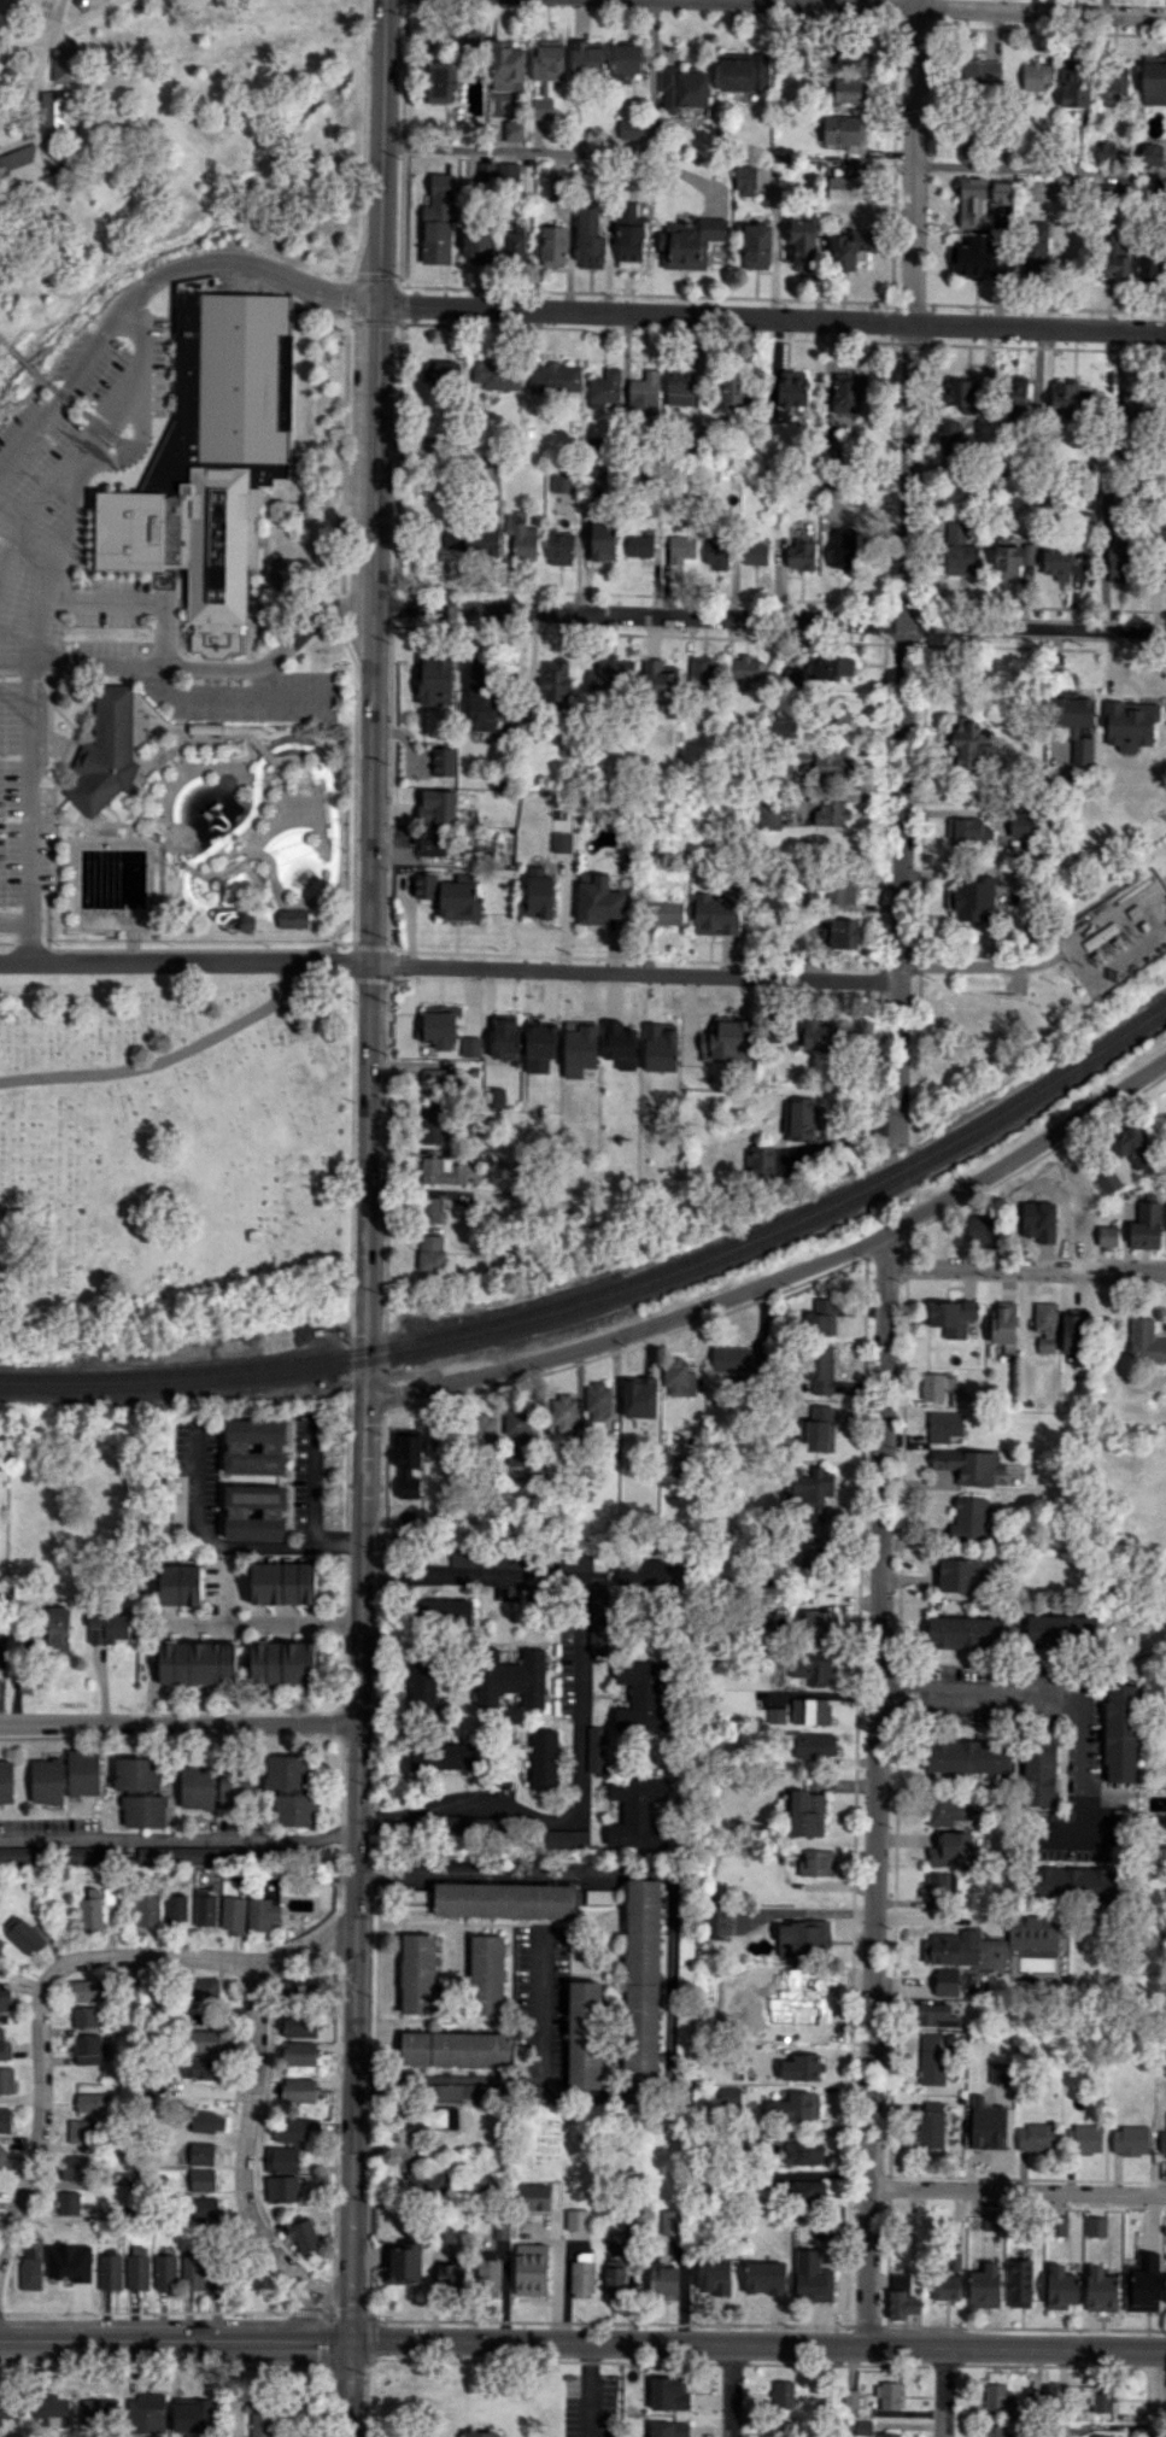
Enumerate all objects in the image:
road: (937, 6)
road: (61, 29)
building: (587, 55)
building: (851, 57)
building: (626, 61)
building: (65, 64)
building: (506, 65)
building: (978, 71)
building: (744, 72)
building: (1036, 75)
building: (1154, 75)
building: (546, 76)
building: (440, 81)
road: (35, 82)
building: (1073, 83)
building: (1112, 84)
building: (682, 89)
building: (848, 90)
building: (54, 112)
building: (631, 128)
building: (514, 130)
building: (842, 130)
building: (967, 141)
road: (379, 151)
road: (509, 151)
building: (1105, 151)
building: (1150, 152)
road: (913, 160)
building: (22, 164)
road: (1039, 169)
building: (509, 172)
building: (745, 181)
building: (844, 188)
building: (1047, 191)
building: (1002, 192)
building: (973, 204)
building: (629, 238)
building: (590, 239)
building: (436, 240)
building: (691, 244)
building: (756, 245)
building: (803, 245)
building: (477, 246)
building: (515, 246)
building: (553, 247)
building: (973, 257)
building: (1114, 258)
building: (1030, 260)
building: (1150, 265)
road: (151, 282)
traffic signals: (375, 304)
road: (769, 317)
road: (5, 350)
road: (22, 358)
building: (441, 374)
building: (497, 375)
building: (555, 377)
building: (605, 386)
building: (229, 387)
building: (680, 388)
building: (791, 389)
building: (961, 391)
building: (644, 392)
building: (733, 392)
road: (30, 394)
building: (848, 396)
building: (1016, 397)
building: (1070, 398)
road: (94, 420)
road: (86, 437)
road: (139, 440)
park: (182, 473)
building: (597, 476)
building: (561, 482)
building: (1083, 529)
building: (521, 535)
building: (471, 539)
building: (603, 541)
building: (189, 545)
building: (639, 546)
building: (559, 547)
building: (843, 547)
building: (681, 549)
building: (960, 551)
building: (716, 552)
road: (57, 553)
building: (755, 553)
building: (801, 553)
building: (1012, 560)
building: (1119, 560)
parking lot: (63, 561)
building: (1057, 562)
road: (133, 601)
road: (768, 621)
road: (197, 667)
building: (748, 668)
building: (831, 668)
building: (701, 669)
building: (609, 673)
building: (791, 676)
road: (266, 680)
building: (435, 680)
building: (555, 680)
building: (661, 681)
road: (230, 695)
building: (481, 696)
parking lot: (259, 698)
road: (49, 710)
building: (1076, 725)
building: (1129, 725)
building: (204, 727)
road: (904, 731)
road: (68, 750)
building: (106, 751)
road: (266, 752)
road: (68, 754)
road: (153, 755)
building: (443, 761)
building: (821, 761)
road: (948, 798)
building: (438, 807)
road: (29, 813)
building: (768, 813)
building: (831, 814)
road: (287, 819)
building: (1019, 822)
road: (98, 824)
road: (369, 826)
road: (88, 830)
building: (968, 831)
building: (563, 842)
building: (429, 843)
road: (191, 868)
road: (154, 878)
building: (840, 889)
building: (450, 895)
building: (540, 895)
building: (598, 900)
building: (973, 900)
building: (717, 910)
building: (666, 912)
building: (292, 918)
road: (14, 921)
building: (845, 933)
road: (1042, 959)
road: (449, 965)
building: (439, 1025)
building: (505, 1030)
building: (545, 1030)
building: (813, 1032)
building: (663, 1033)
building: (582, 1035)
building: (773, 1036)
building: (619, 1041)
building: (727, 1041)
building: (471, 1047)
building: (436, 1085)
building: (575, 1085)
building: (496, 1100)
building: (799, 1118)
building: (432, 1130)
park: (166, 1141)
building: (1131, 1146)
building: (758, 1160)
building: (441, 1170)
building: (1107, 1181)
building: (430, 1209)
railway: (784, 1217)
building: (1147, 1226)
building: (980, 1228)
railway: (784, 1230)
building: (1107, 1236)
building: (432, 1252)
road: (1026, 1266)
road: (784, 1273)
building: (821, 1317)
building: (951, 1317)
building: (1004, 1324)
building: (1045, 1326)
building: (1074, 1337)
building: (1146, 1341)
building: (736, 1359)
railway: (182, 1369)
building: (820, 1369)
road: (364, 1377)
building: (678, 1377)
railway: (182, 1382)
building: (932, 1386)
building: (639, 1396)
building: (597, 1400)
building: (566, 1413)
building: (943, 1425)
building: (482, 1429)
building: (444, 1440)
building: (517, 1442)
building: (240, 1447)
building: (680, 1465)
building: (969, 1465)
road: (312, 1481)
building: (811, 1493)
building: (178, 1502)
building: (240, 1512)
building: (969, 1519)
road: (221, 1543)
building: (816, 1551)
building: (491, 1558)
building: (575, 1562)
building: (648, 1571)
building: (957, 1575)
building: (285, 1583)
building: (181, 1584)
road: (359, 1610)
building: (441, 1612)
building: (598, 1619)
road: (262, 1623)
building: (816, 1624)
building: (58, 1628)
building: (107, 1628)
building: (1062, 1628)
building: (972, 1633)
building: (283, 1662)
building: (198, 1663)
building: (811, 1671)
building: (512, 1677)
building: (426, 1685)
road: (1050, 1694)
building: (645, 1697)
road: (581, 1698)
building: (810, 1711)
building: (777, 1715)
road: (178, 1723)
building: (1121, 1733)
building: (814, 1745)
building: (596, 1748)
building: (446, 1756)
building: (969, 1756)
building: (545, 1759)
building: (1039, 1770)
building: (83, 1773)
building: (136, 1773)
building: (6, 1781)
building: (47, 1781)
building: (197, 1787)
building: (234, 1787)
building: (291, 1789)
road: (878, 1791)
building: (947, 1810)
building: (145, 1811)
building: (638, 1812)
building: (807, 1814)
building: (467, 1824)
road: (177, 1838)
building: (566, 1838)
road: (356, 1844)
building: (950, 1850)
building: (23, 1855)
building: (83, 1855)
building: (197, 1855)
building: (818, 1863)
building: (1073, 1882)
building: (941, 1886)
road: (670, 1893)
road: (355, 1897)
building: (503, 1899)
building: (205, 1908)
building: (94, 1909)
building: (147, 1909)
building: (176, 1909)
building: (233, 1914)
building: (262, 1914)
building: (717, 1921)
building: (22, 1934)
building: (802, 1937)
building: (1, 1944)
building: (991, 1945)
building: (685, 1950)
road: (201, 1957)
building: (418, 1973)
building: (488, 1974)
building: (947, 1981)
building: (643, 1982)
building: (205, 1988)
building: (300, 1988)
building: (83, 1990)
building: (5, 1999)
building: (934, 2015)
building: (87, 2016)
building: (809, 2022)
building: (299, 2026)
building: (755, 2029)
building: (585, 2034)
building: (682, 2035)
building: (205, 2040)
building: (4, 2046)
building: (452, 2048)
building: (87, 2049)
building: (300, 2052)
building: (931, 2058)
building: (802, 2067)
building: (1000, 2072)
road: (517, 2078)
building: (6, 2080)
building: (298, 2090)
building: (461, 2091)
building: (92, 2102)
road: (40, 2108)
building: (428, 2117)
building: (5, 2120)
building: (207, 2122)
building: (931, 2123)
building: (988, 2125)
building: (292, 2130)
building: (82, 2131)
building: (1036, 2138)
building: (1083, 2139)
building: (1130, 2140)
building: (1162, 2140)
building: (803, 2152)
building: (204, 2154)
building: (2, 2155)
road: (245, 2156)
building: (282, 2158)
building: (75, 2167)
building: (127, 2179)
building: (203, 2179)
road: (351, 2180)
building: (282, 2189)
building: (804, 2190)
road: (1018, 2190)
building: (534, 2196)
building: (68, 2202)
building: (203, 2208)
building: (576, 2219)
building: (992, 2220)
building: (672, 2222)
building: (1059, 2225)
building: (1096, 2226)
building: (500, 2231)
building: (304, 2236)
building: (955, 2261)
building: (404, 2265)
building: (31, 2266)
building: (137, 2268)
building: (532, 2269)
building: (81, 2271)
building: (110, 2272)
building: (165, 2272)
building: (193, 2272)
building: (714, 2274)
building: (248, 2275)
building: (451, 2275)
building: (581, 2275)
building: (764, 2277)
building: (811, 2277)
building: (488, 2278)
building: (615, 2278)
building: (668, 2279)
building: (1019, 2283)
building: (1142, 2283)
building: (984, 2286)
building: (945, 2287)
building: (1061, 2287)
building: (1101, 2290)
building: (1165, 2291)
building: (901, 2297)
road: (321, 2304)
road: (306, 2308)
road: (582, 2342)
road: (587, 2390)
road: (731, 2391)
road: (943, 2392)
building: (668, 2394)
road: (1153, 2394)
building: (783, 2395)
building: (889, 2395)
building: (995, 2397)
building: (1102, 2397)
building: (850, 2398)
building: (6, 2407)
building: (51, 2410)
building: (98, 2410)
building: (146, 2413)
building: (191, 2414)
building: (862, 2426)
building: (669, 2429)
building: (781, 2429)
building: (994, 2431)
building: (482, 2433)
building: (889, 2435)
building: (1101, 2436)

